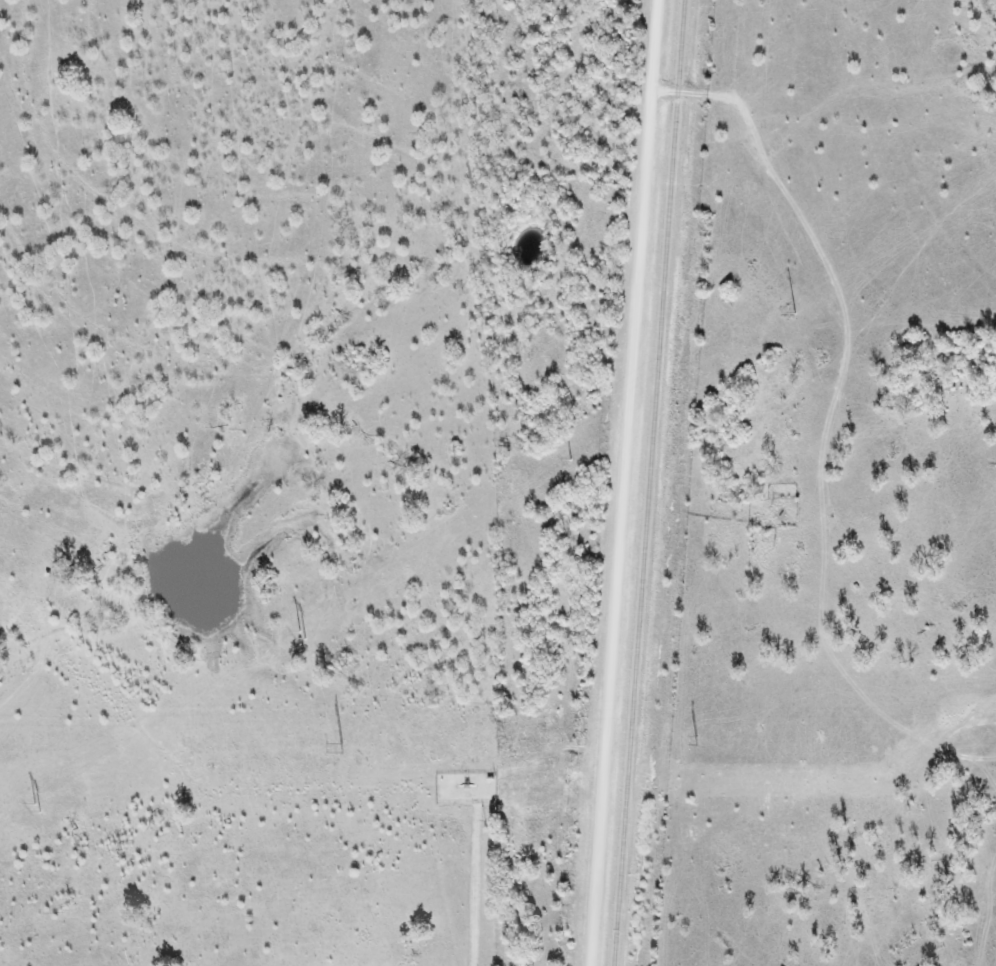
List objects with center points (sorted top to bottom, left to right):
road: (694, 95)
power tower: (793, 314)
power tower: (569, 461)
road: (622, 483)
railway: (650, 483)
power tower: (300, 636)
power tower: (695, 741)
power tower: (341, 750)
power tower: (35, 810)

